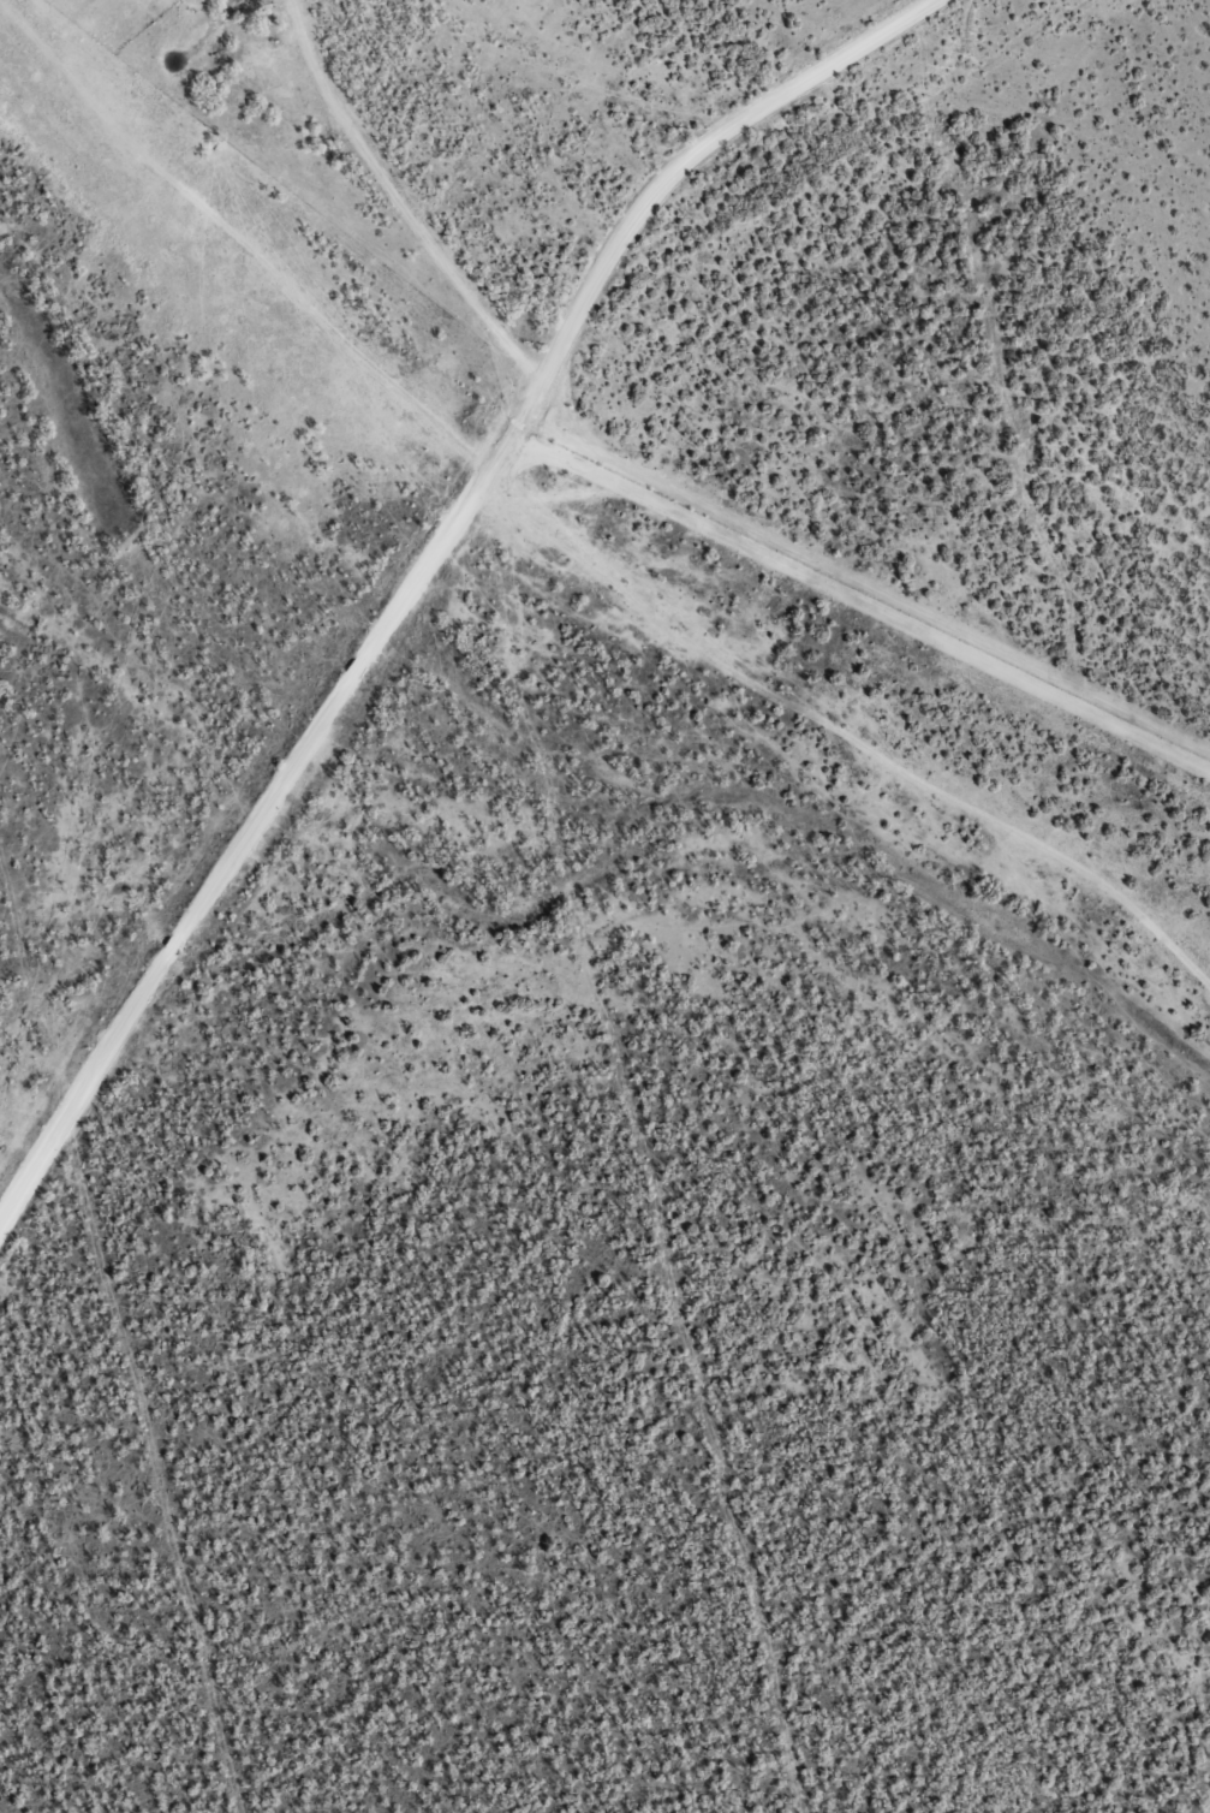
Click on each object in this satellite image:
road: (585, 305)
road: (310, 816)

